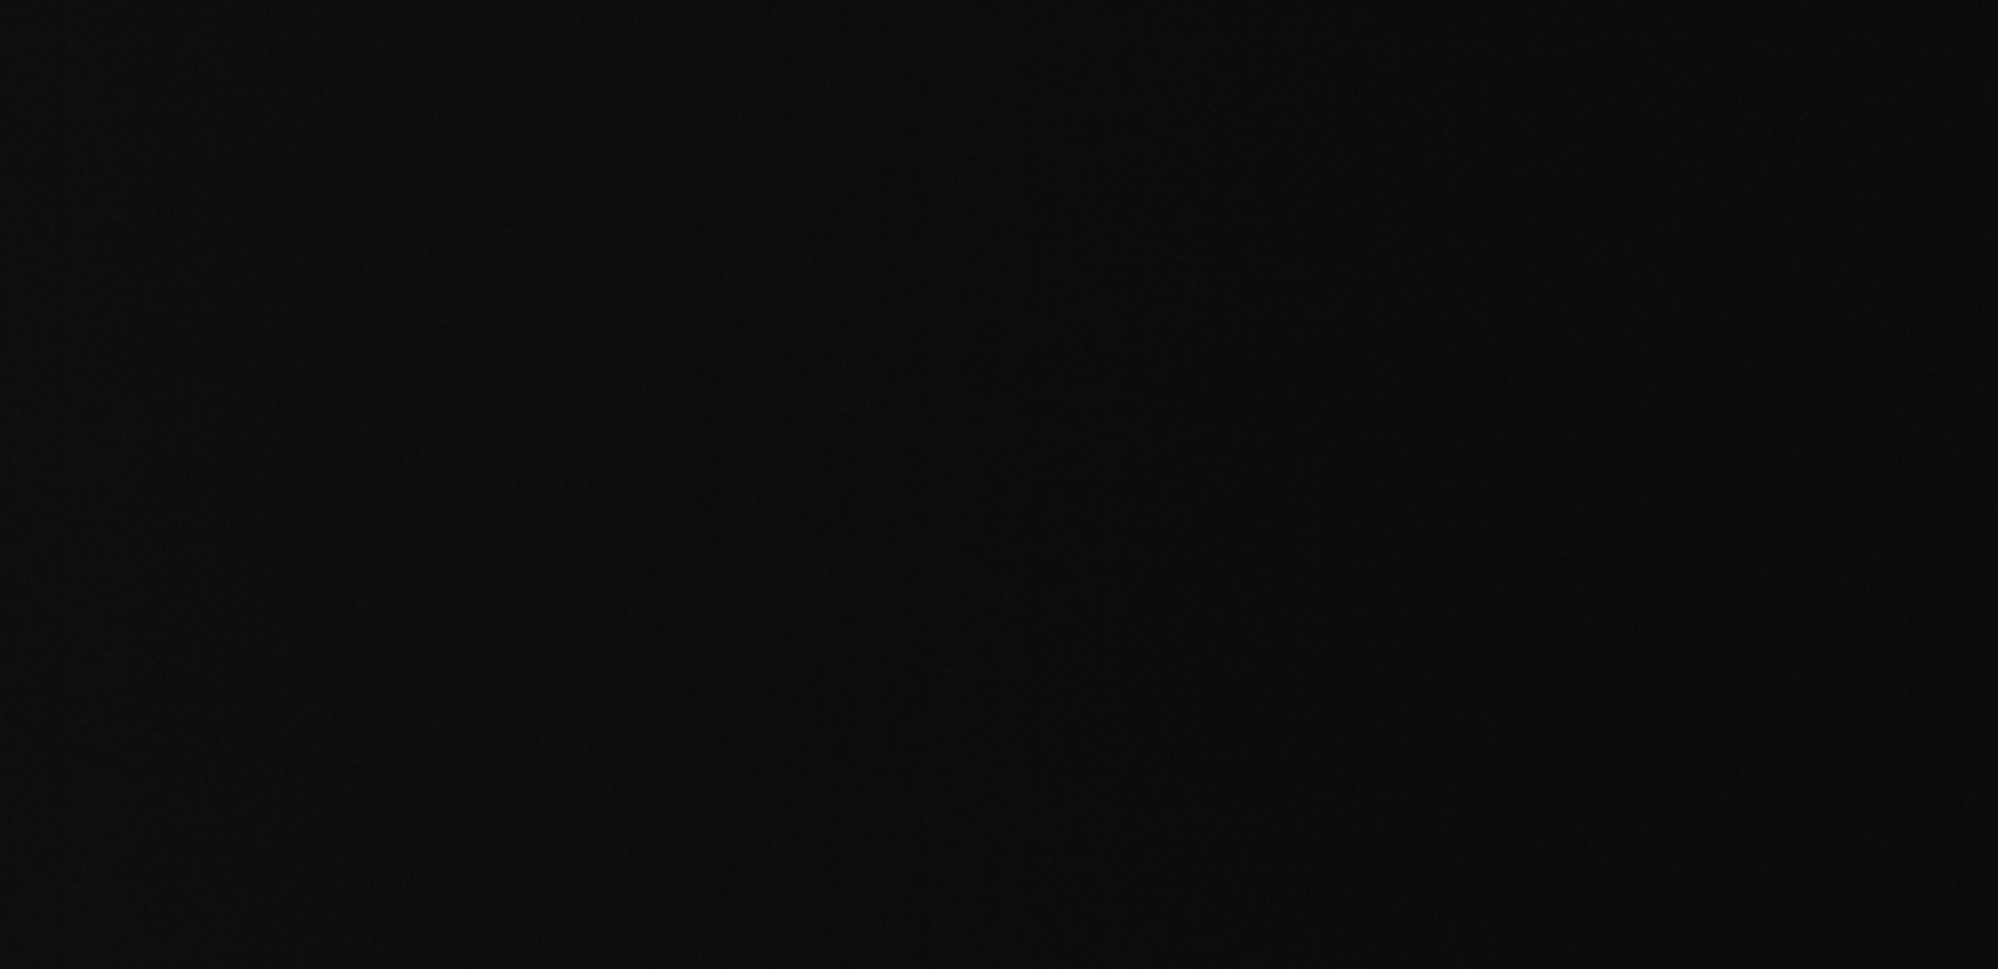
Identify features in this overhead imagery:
river: (1396, 484)

